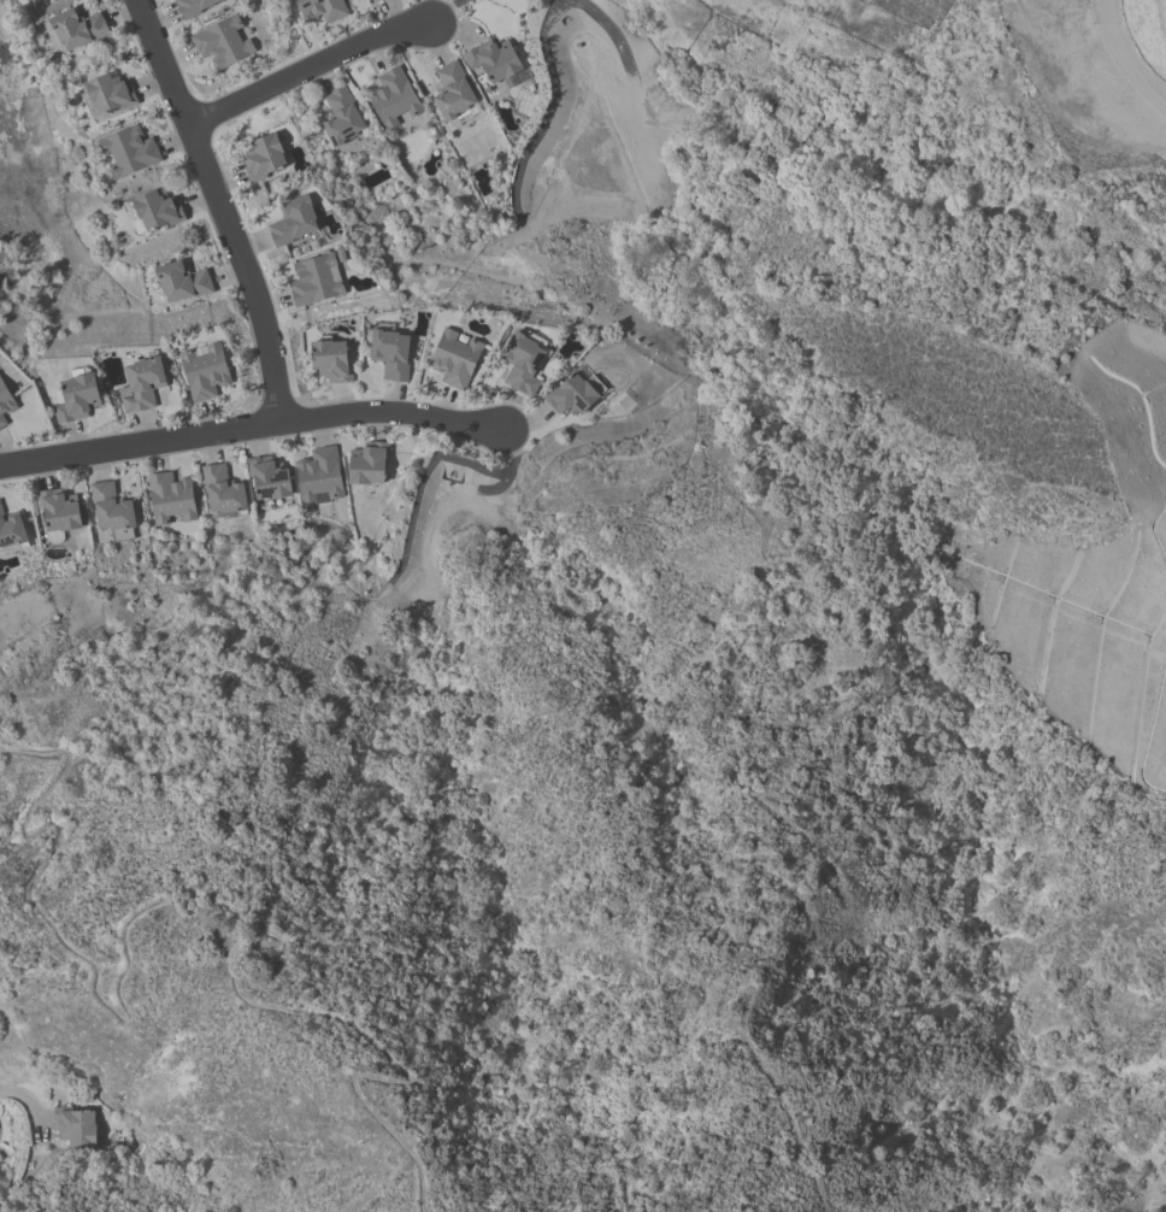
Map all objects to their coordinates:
building: (371, 0)
building: (192, 6)
building: (320, 10)
building: (75, 28)
building: (220, 42)
building: (493, 59)
road: (307, 70)
park: (943, 76)
building: (107, 94)
building: (454, 95)
building: (393, 96)
building: (341, 117)
building: (129, 151)
building: (263, 157)
road: (223, 207)
building: (157, 208)
building: (293, 220)
building: (316, 278)
building: (182, 281)
building: (389, 353)
building: (454, 358)
building: (330, 359)
building: (522, 361)
building: (204, 371)
building: (142, 383)
building: (573, 394)
building: (77, 396)
building: (5, 402)
road: (251, 428)
building: (367, 463)
building: (318, 473)
building: (269, 477)
building: (222, 489)
building: (170, 496)
building: (111, 510)
building: (58, 513)
building: (12, 530)
road: (213, 902)
road: (30, 1100)
building: (75, 1125)

